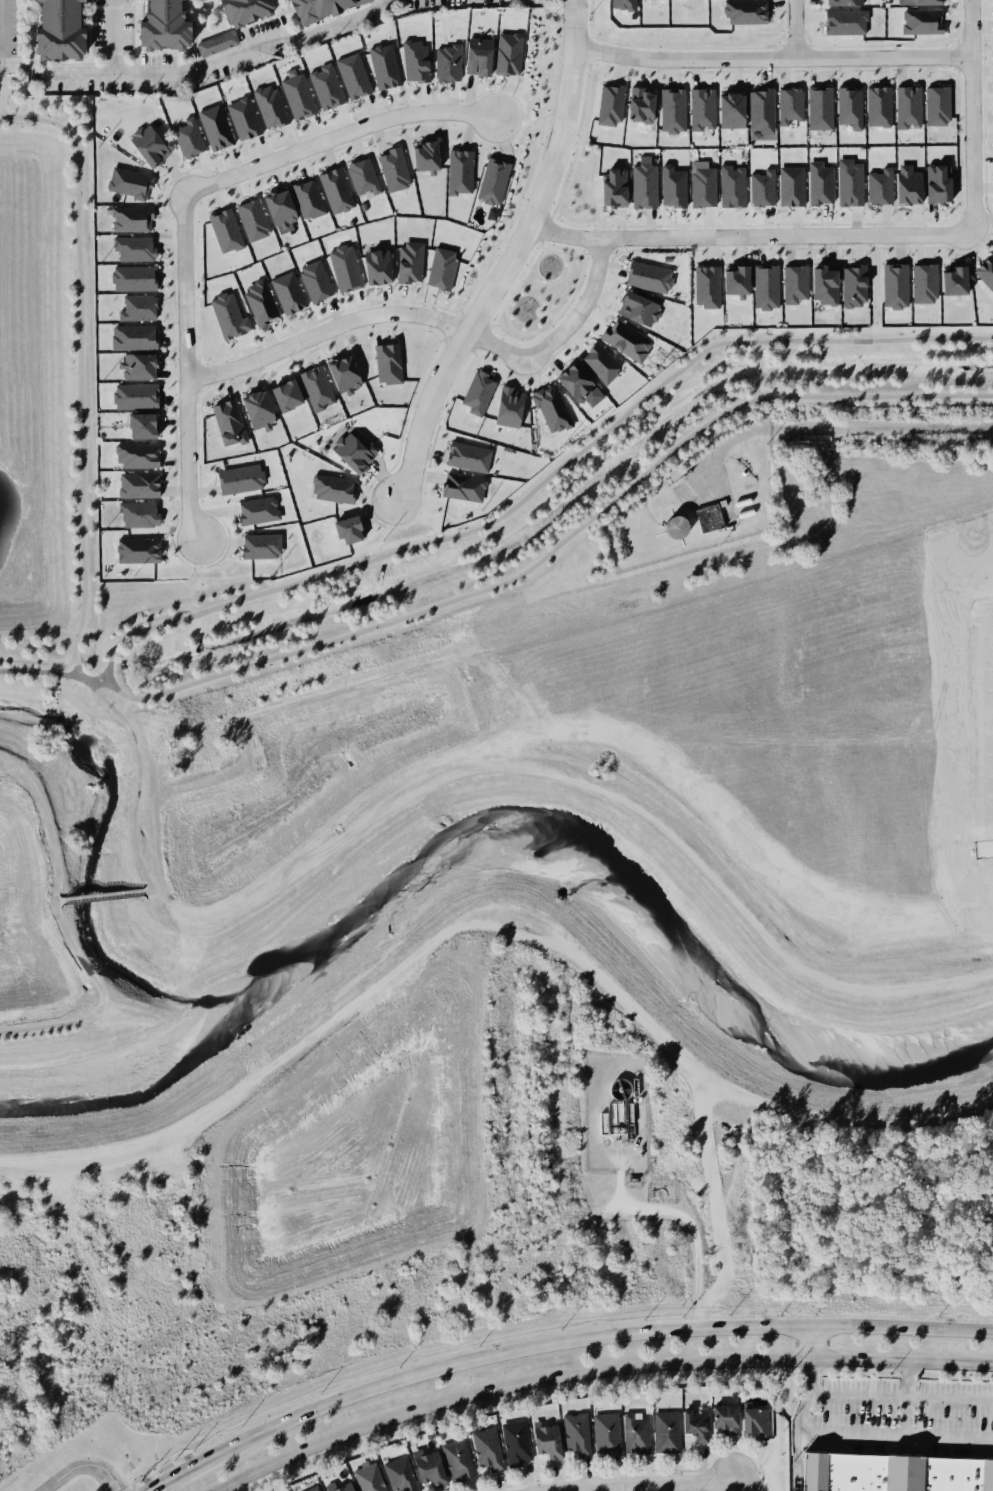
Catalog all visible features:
building: (846, 0)
building: (688, 1)
building: (921, 2)
building: (655, 3)
building: (620, 9)
building: (240, 10)
building: (307, 11)
building: (745, 13)
building: (919, 21)
building: (845, 22)
parking lot: (9, 27)
building: (160, 27)
road: (0, 29)
road: (796, 29)
road: (973, 29)
building: (55, 32)
road: (591, 34)
building: (217, 43)
road: (590, 49)
building: (507, 52)
road: (223, 55)
building: (473, 58)
road: (772, 59)
building: (416, 61)
road: (550, 62)
building: (446, 63)
building: (385, 64)
road: (589, 65)
road: (601, 66)
road: (87, 70)
building: (353, 75)
road: (0, 86)
building: (322, 86)
building: (295, 97)
building: (268, 101)
building: (640, 102)
building: (610, 103)
building: (786, 104)
road: (521, 105)
building: (670, 105)
building: (700, 105)
building: (727, 105)
building: (821, 105)
building: (909, 105)
road: (585, 106)
building: (762, 106)
building: (880, 106)
building: (941, 106)
building: (850, 107)
building: (244, 118)
road: (533, 125)
building: (216, 128)
road: (516, 133)
building: (186, 134)
road: (336, 135)
building: (150, 143)
park: (519, 144)
road: (973, 146)
road: (572, 147)
building: (422, 154)
park: (579, 164)
building: (391, 167)
building: (461, 174)
building: (358, 177)
road: (570, 178)
building: (124, 179)
building: (491, 182)
building: (818, 183)
building: (644, 184)
building: (699, 185)
building: (846, 185)
building: (672, 186)
building: (911, 186)
building: (942, 186)
building: (613, 187)
building: (731, 187)
building: (881, 187)
building: (757, 188)
building: (791, 188)
building: (335, 190)
building: (307, 199)
building: (279, 206)
building: (491, 213)
road: (553, 214)
building: (251, 218)
building: (129, 220)
road: (512, 222)
road: (573, 222)
road: (546, 227)
building: (221, 230)
road: (751, 236)
road: (541, 242)
building: (992, 244)
road: (555, 248)
road: (654, 248)
building: (132, 249)
road: (599, 251)
road: (614, 251)
road: (577, 252)
road: (586, 252)
road: (613, 255)
road: (511, 260)
building: (410, 262)
building: (437, 266)
building: (340, 267)
building: (377, 267)
road: (526, 269)
road: (568, 269)
building: (986, 271)
building: (650, 277)
road: (554, 278)
road: (554, 279)
building: (135, 280)
building: (312, 280)
road: (551, 280)
road: (553, 281)
road: (555, 281)
building: (920, 281)
building: (958, 281)
road: (548, 282)
building: (852, 282)
building: (735, 283)
building: (796, 283)
road: (546, 284)
road: (551, 284)
building: (825, 284)
building: (895, 285)
road: (528, 286)
building: (707, 286)
road: (574, 289)
park: (541, 291)
building: (761, 294)
building: (282, 295)
road: (509, 297)
building: (256, 299)
road: (445, 307)
building: (136, 308)
building: (638, 309)
road: (460, 310)
road: (536, 310)
road: (544, 311)
building: (224, 312)
road: (497, 312)
road: (548, 312)
road: (545, 317)
road: (475, 318)
road: (549, 322)
road: (492, 324)
road: (546, 325)
road: (514, 329)
road: (327, 331)
road: (560, 336)
building: (626, 338)
building: (133, 339)
road: (518, 341)
building: (600, 361)
building: (388, 363)
building: (338, 368)
building: (140, 369)
road: (187, 369)
building: (579, 380)
building: (313, 382)
building: (284, 389)
building: (474, 392)
road: (80, 393)
building: (135, 399)
building: (252, 404)
building: (552, 406)
building: (507, 408)
building: (227, 418)
building: (138, 426)
road: (834, 428)
building: (356, 450)
building: (466, 453)
building: (136, 457)
building: (239, 479)
road: (541, 480)
building: (139, 484)
building: (464, 488)
building: (331, 490)
building: (723, 503)
building: (258, 507)
building: (137, 512)
building: (708, 518)
building: (676, 527)
building: (345, 528)
road: (557, 543)
building: (257, 547)
building: (137, 551)
park: (463, 552)
road: (799, 657)
road: (12, 670)
road: (88, 682)
road: (103, 685)
crop: (795, 696)
road: (901, 744)
road: (137, 784)
road: (816, 818)
river: (495, 820)
road: (984, 850)
road: (302, 866)
road: (154, 889)
road: (103, 894)
road: (781, 950)
road: (102, 998)
building: (612, 1116)
road: (680, 1214)
road: (803, 1327)
road: (808, 1343)
road: (594, 1370)
road: (404, 1379)
road: (898, 1396)
building: (719, 1417)
building: (752, 1423)
building: (690, 1424)
building: (663, 1431)
road: (814, 1432)
building: (602, 1434)
building: (633, 1434)
building: (571, 1436)
road: (910, 1436)
building: (542, 1439)
building: (512, 1440)
building: (483, 1451)
building: (454, 1460)
road: (80, 1467)
building: (426, 1469)
building: (890, 1472)
road: (178, 1475)
building: (396, 1475)
building: (365, 1477)
road: (642, 1485)
building: (339, 1486)
building: (309, 1488)

